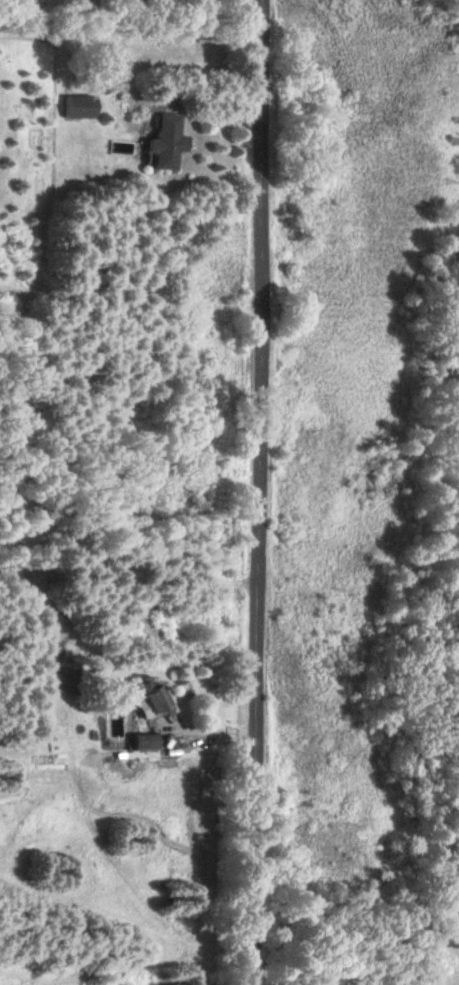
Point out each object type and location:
building: (78, 106)
building: (162, 142)
road: (262, 492)
building: (149, 700)
road: (208, 731)
building: (142, 742)

